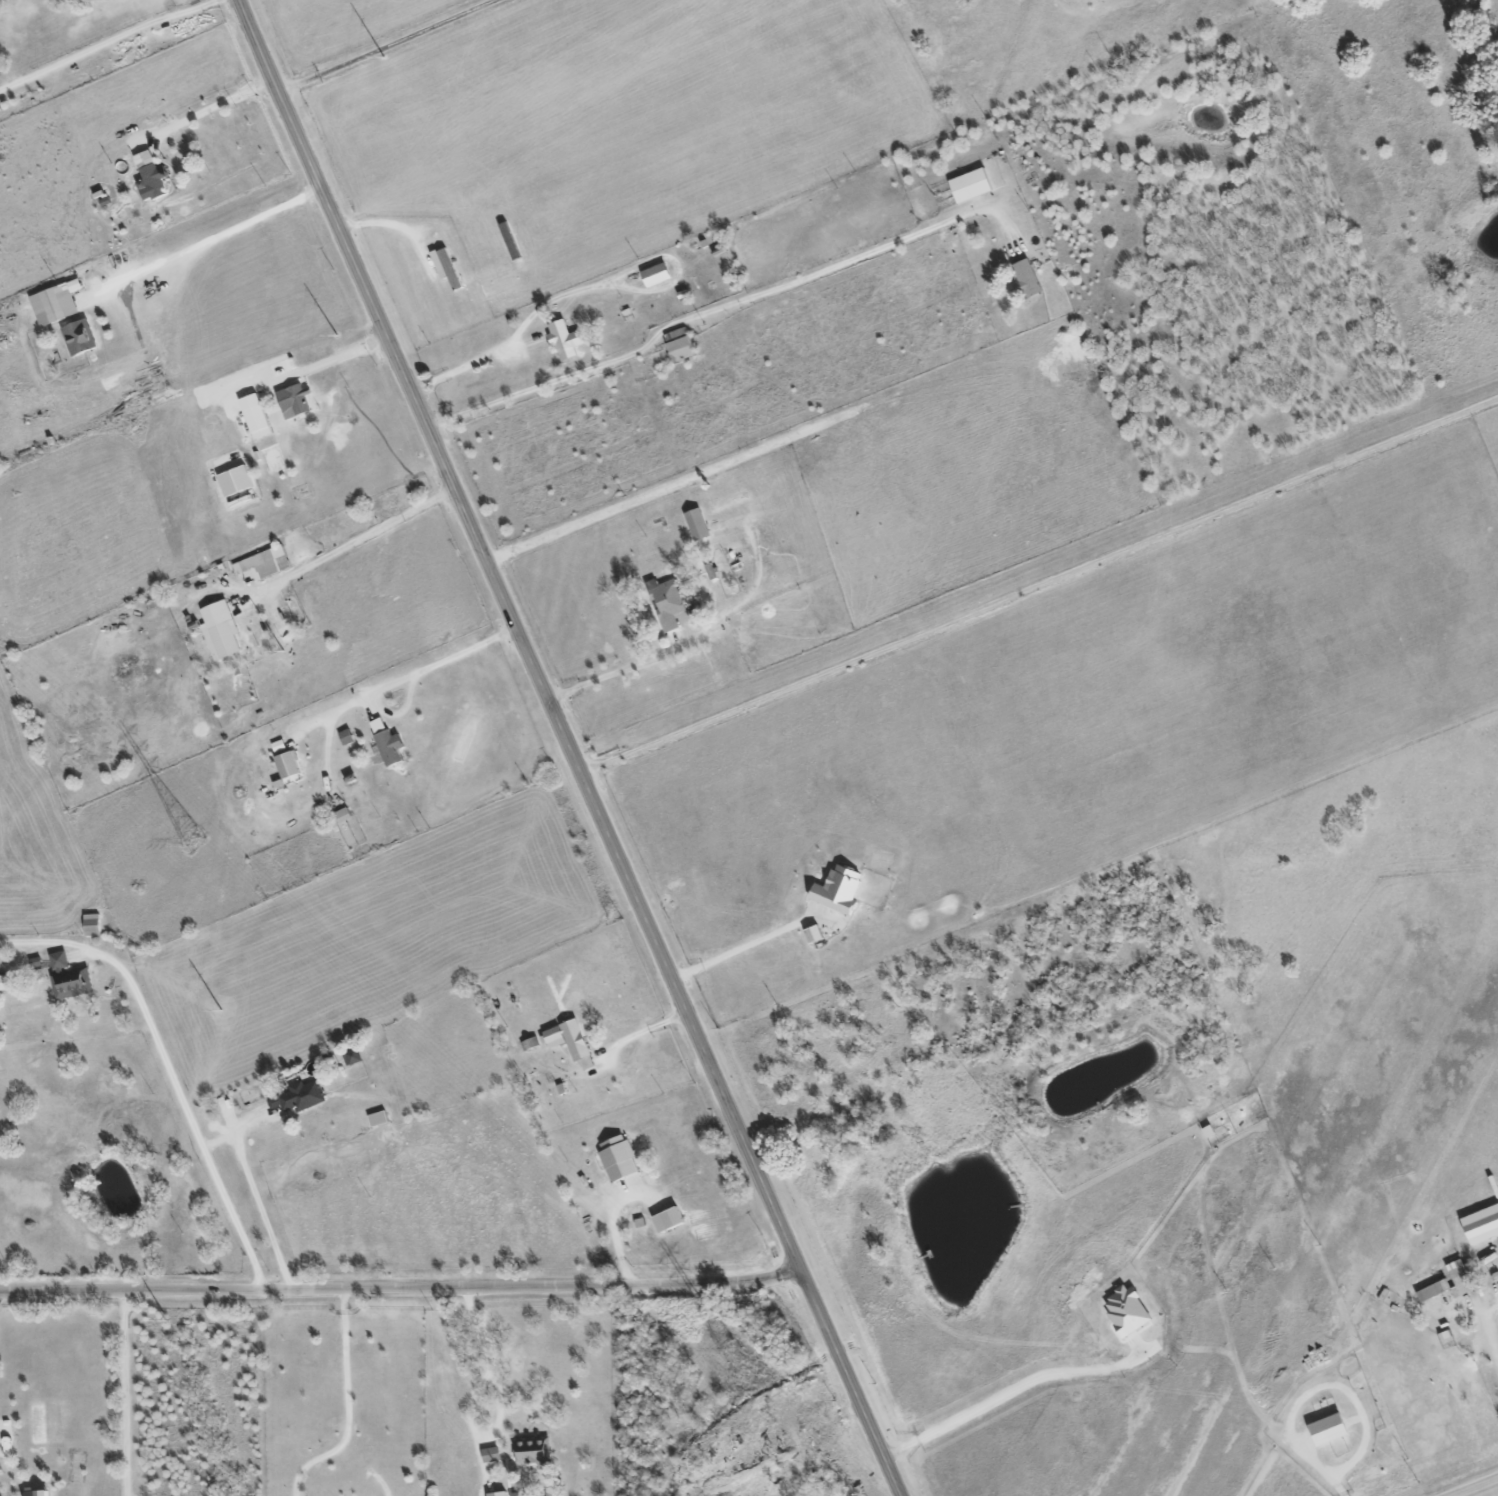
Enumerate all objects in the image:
road: (387, 45)
road: (111, 47)
power tower: (383, 57)
road: (210, 113)
building: (152, 177)
building: (972, 185)
road: (210, 243)
building: (447, 266)
building: (658, 275)
building: (1028, 278)
road: (577, 289)
building: (57, 303)
road: (701, 318)
power tower: (335, 336)
building: (566, 340)
building: (681, 344)
road: (326, 363)
building: (257, 416)
building: (237, 481)
building: (731, 503)
building: (698, 525)
road: (350, 546)
building: (265, 564)
road: (1039, 583)
building: (670, 604)
building: (222, 630)
road: (691, 648)
power tower: (281, 651)
road: (410, 680)
building: (379, 725)
building: (347, 737)
road: (571, 747)
building: (389, 748)
building: (289, 765)
building: (344, 815)
power tower: (194, 842)
building: (840, 890)
building: (93, 925)
building: (816, 934)
road: (740, 955)
building: (70, 978)
building: (3, 983)
power tower: (220, 1013)
road: (642, 1031)
building: (572, 1042)
road: (167, 1070)
building: (380, 1119)
building: (619, 1158)
road: (258, 1202)
building: (670, 1220)
road: (614, 1227)
building: (1453, 1281)
road: (402, 1288)
building: (1129, 1311)
power tower: (166, 1323)
road: (1488, 1334)
power tower: (729, 1351)
road: (1007, 1391)
road: (126, 1393)
road: (345, 1404)
road: (499, 1404)
road: (791, 1429)
building: (1331, 1429)
building: (533, 1451)
building: (493, 1455)
road: (1478, 1488)
building: (39, 1491)
building: (500, 1494)

